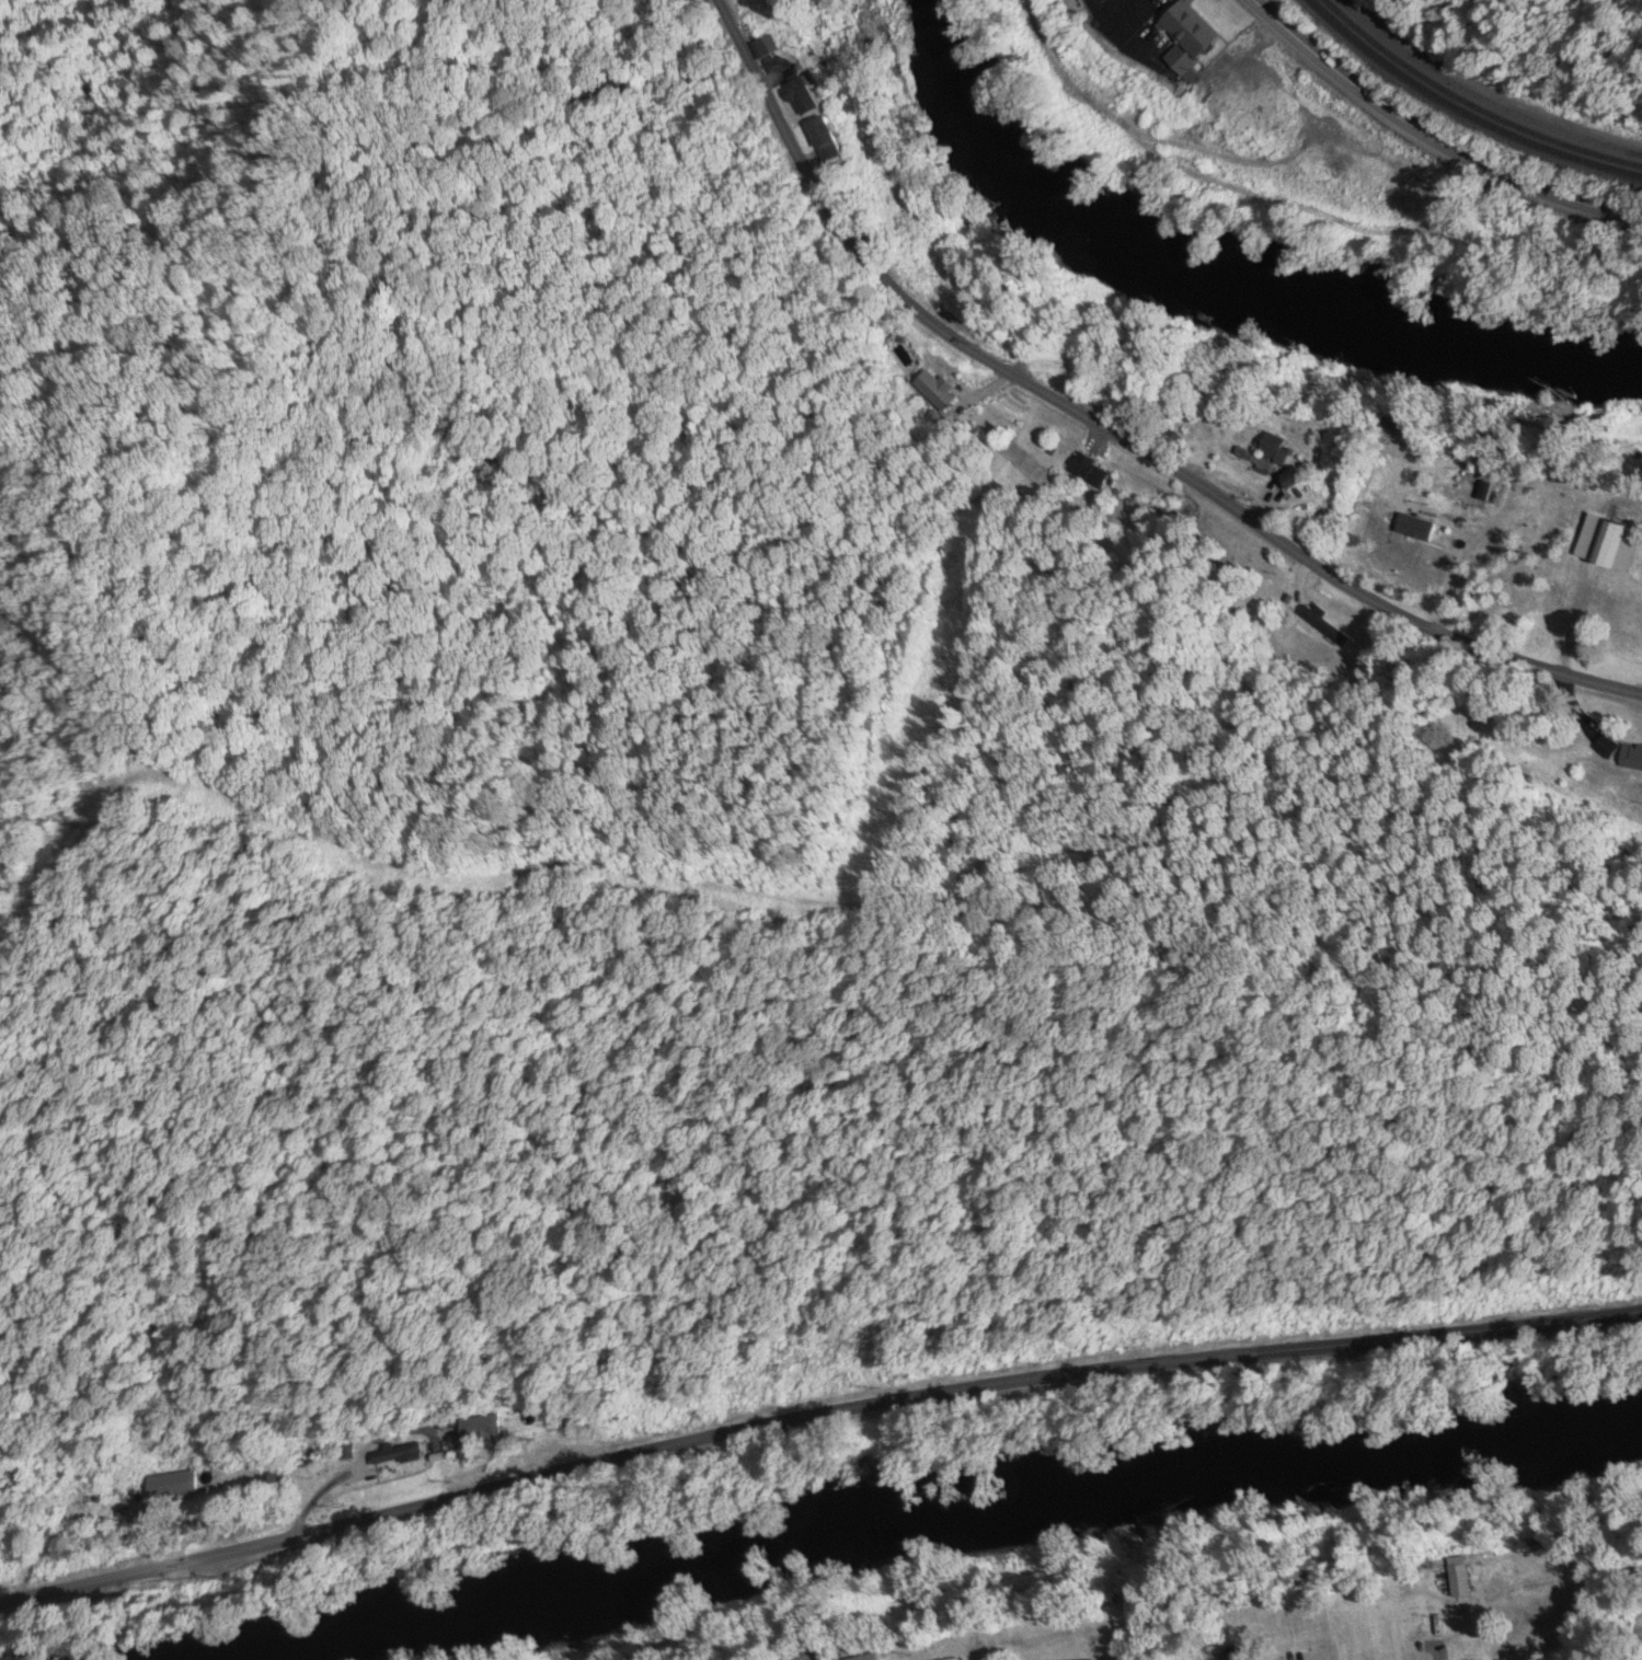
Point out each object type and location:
building: (1186, 37)
building: (801, 84)
railway: (1472, 100)
road: (1429, 140)
river: (1236, 278)
road: (1109, 434)
building: (1263, 458)
building: (1291, 481)
building: (1105, 486)
building: (1466, 487)
building: (1486, 493)
building: (1608, 543)
road: (814, 1413)
building: (479, 1430)
building: (394, 1457)
building: (181, 1486)
river: (920, 1525)
building: (1458, 1581)
building: (1285, 1630)
road: (1261, 1639)
road: (1425, 1653)
building: (1229, 1655)
building: (864, 1658)

